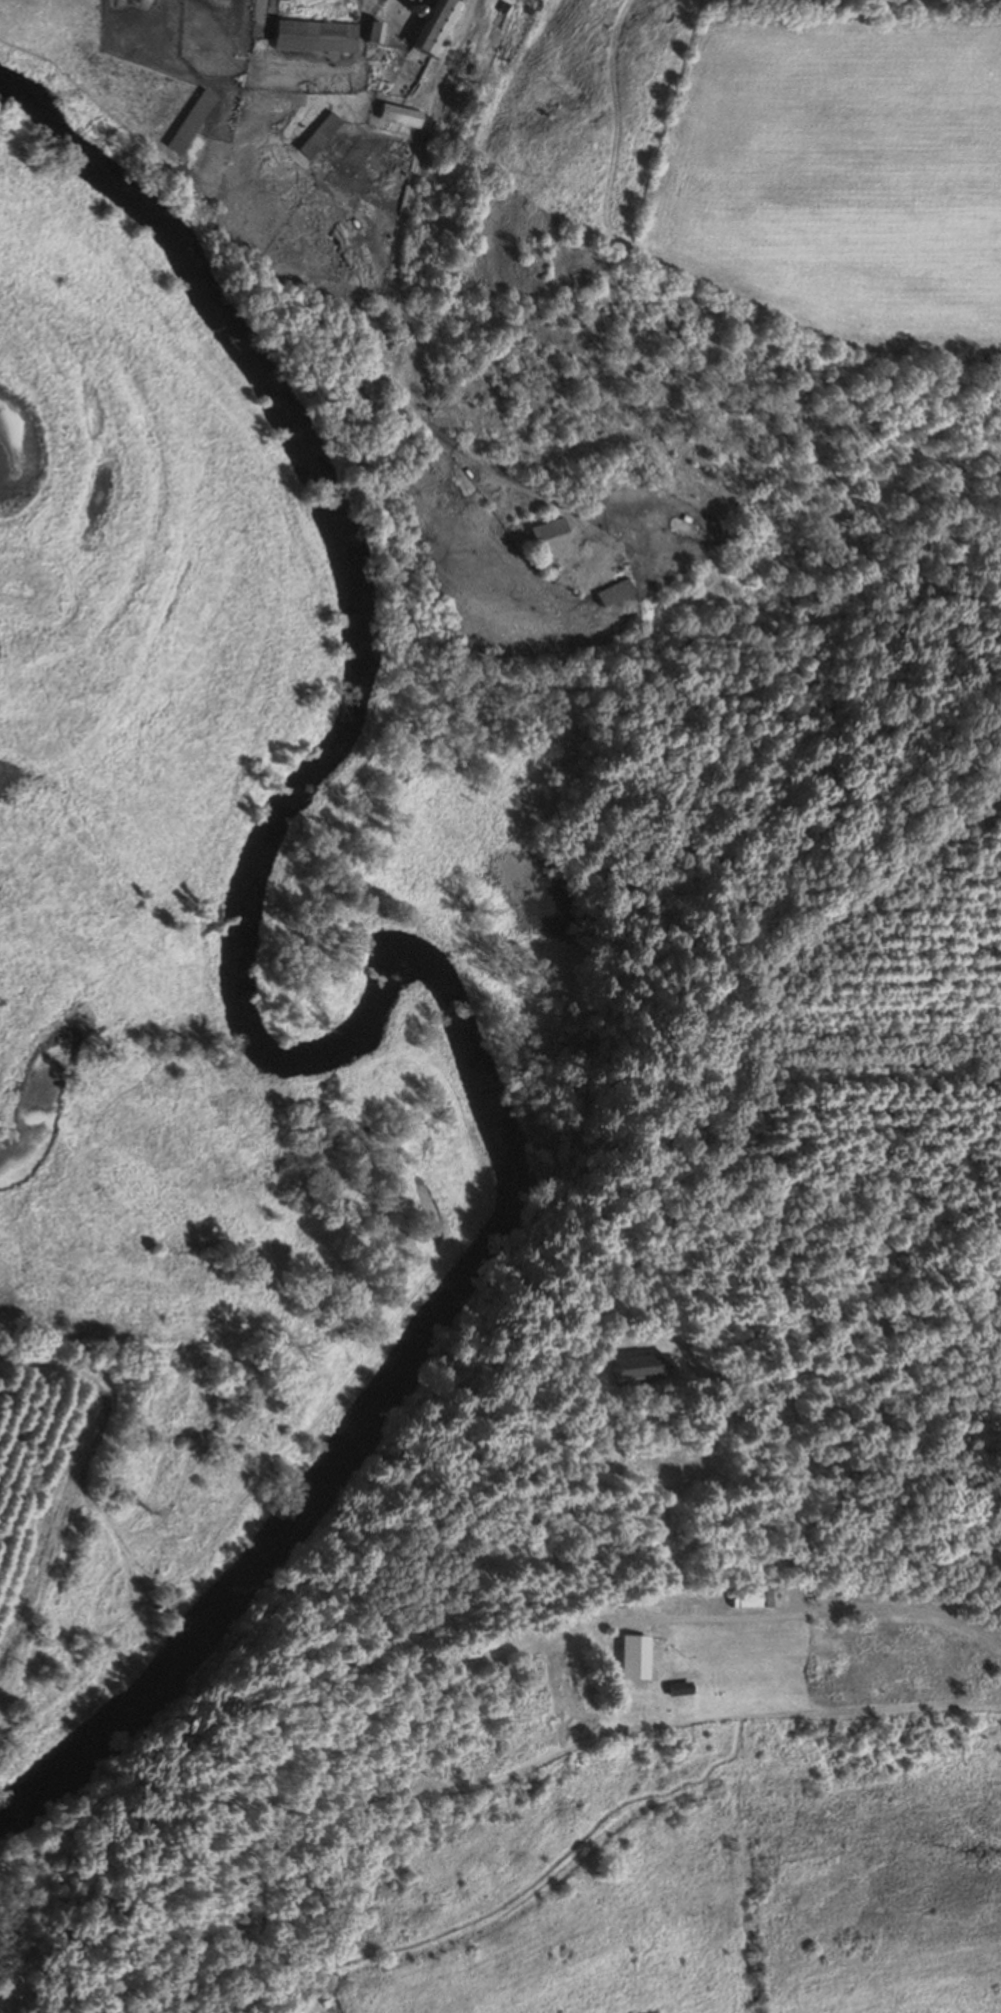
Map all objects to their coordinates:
building: (546, 0)
building: (432, 27)
building: (370, 32)
building: (312, 36)
road: (451, 50)
building: (398, 116)
building: (185, 121)
building: (314, 135)
building: (604, 482)
building: (542, 529)
building: (608, 591)
river: (300, 1054)
building: (630, 1369)
building: (746, 1598)
building: (651, 1600)
building: (150, 1602)
road: (858, 1614)
building: (620, 1656)
building: (672, 1689)

